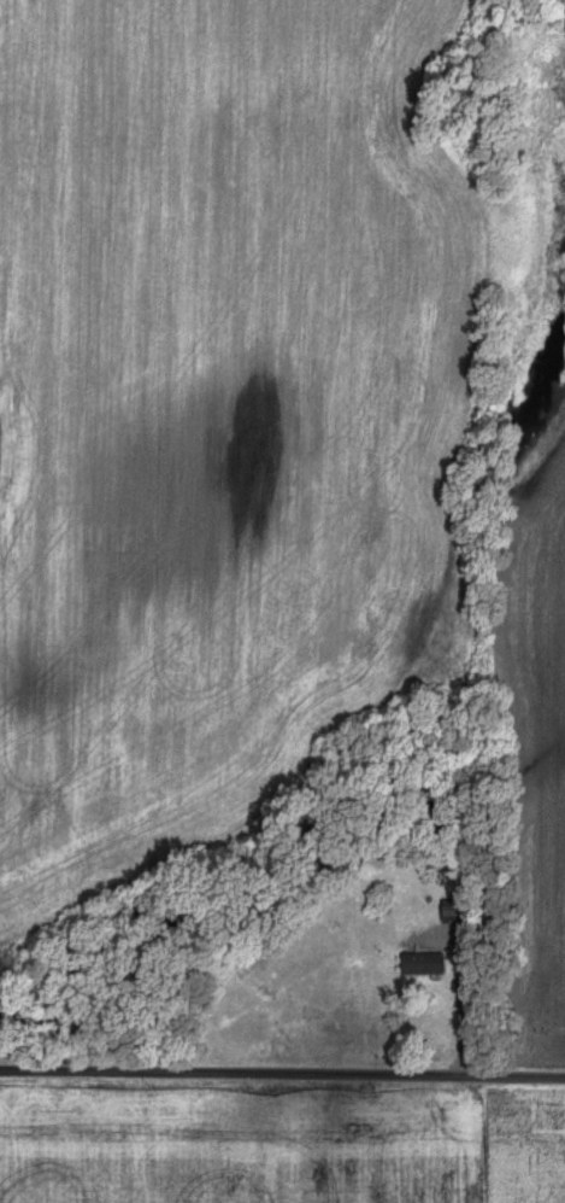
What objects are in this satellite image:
building: (449, 911)
building: (418, 963)
road: (282, 1075)

